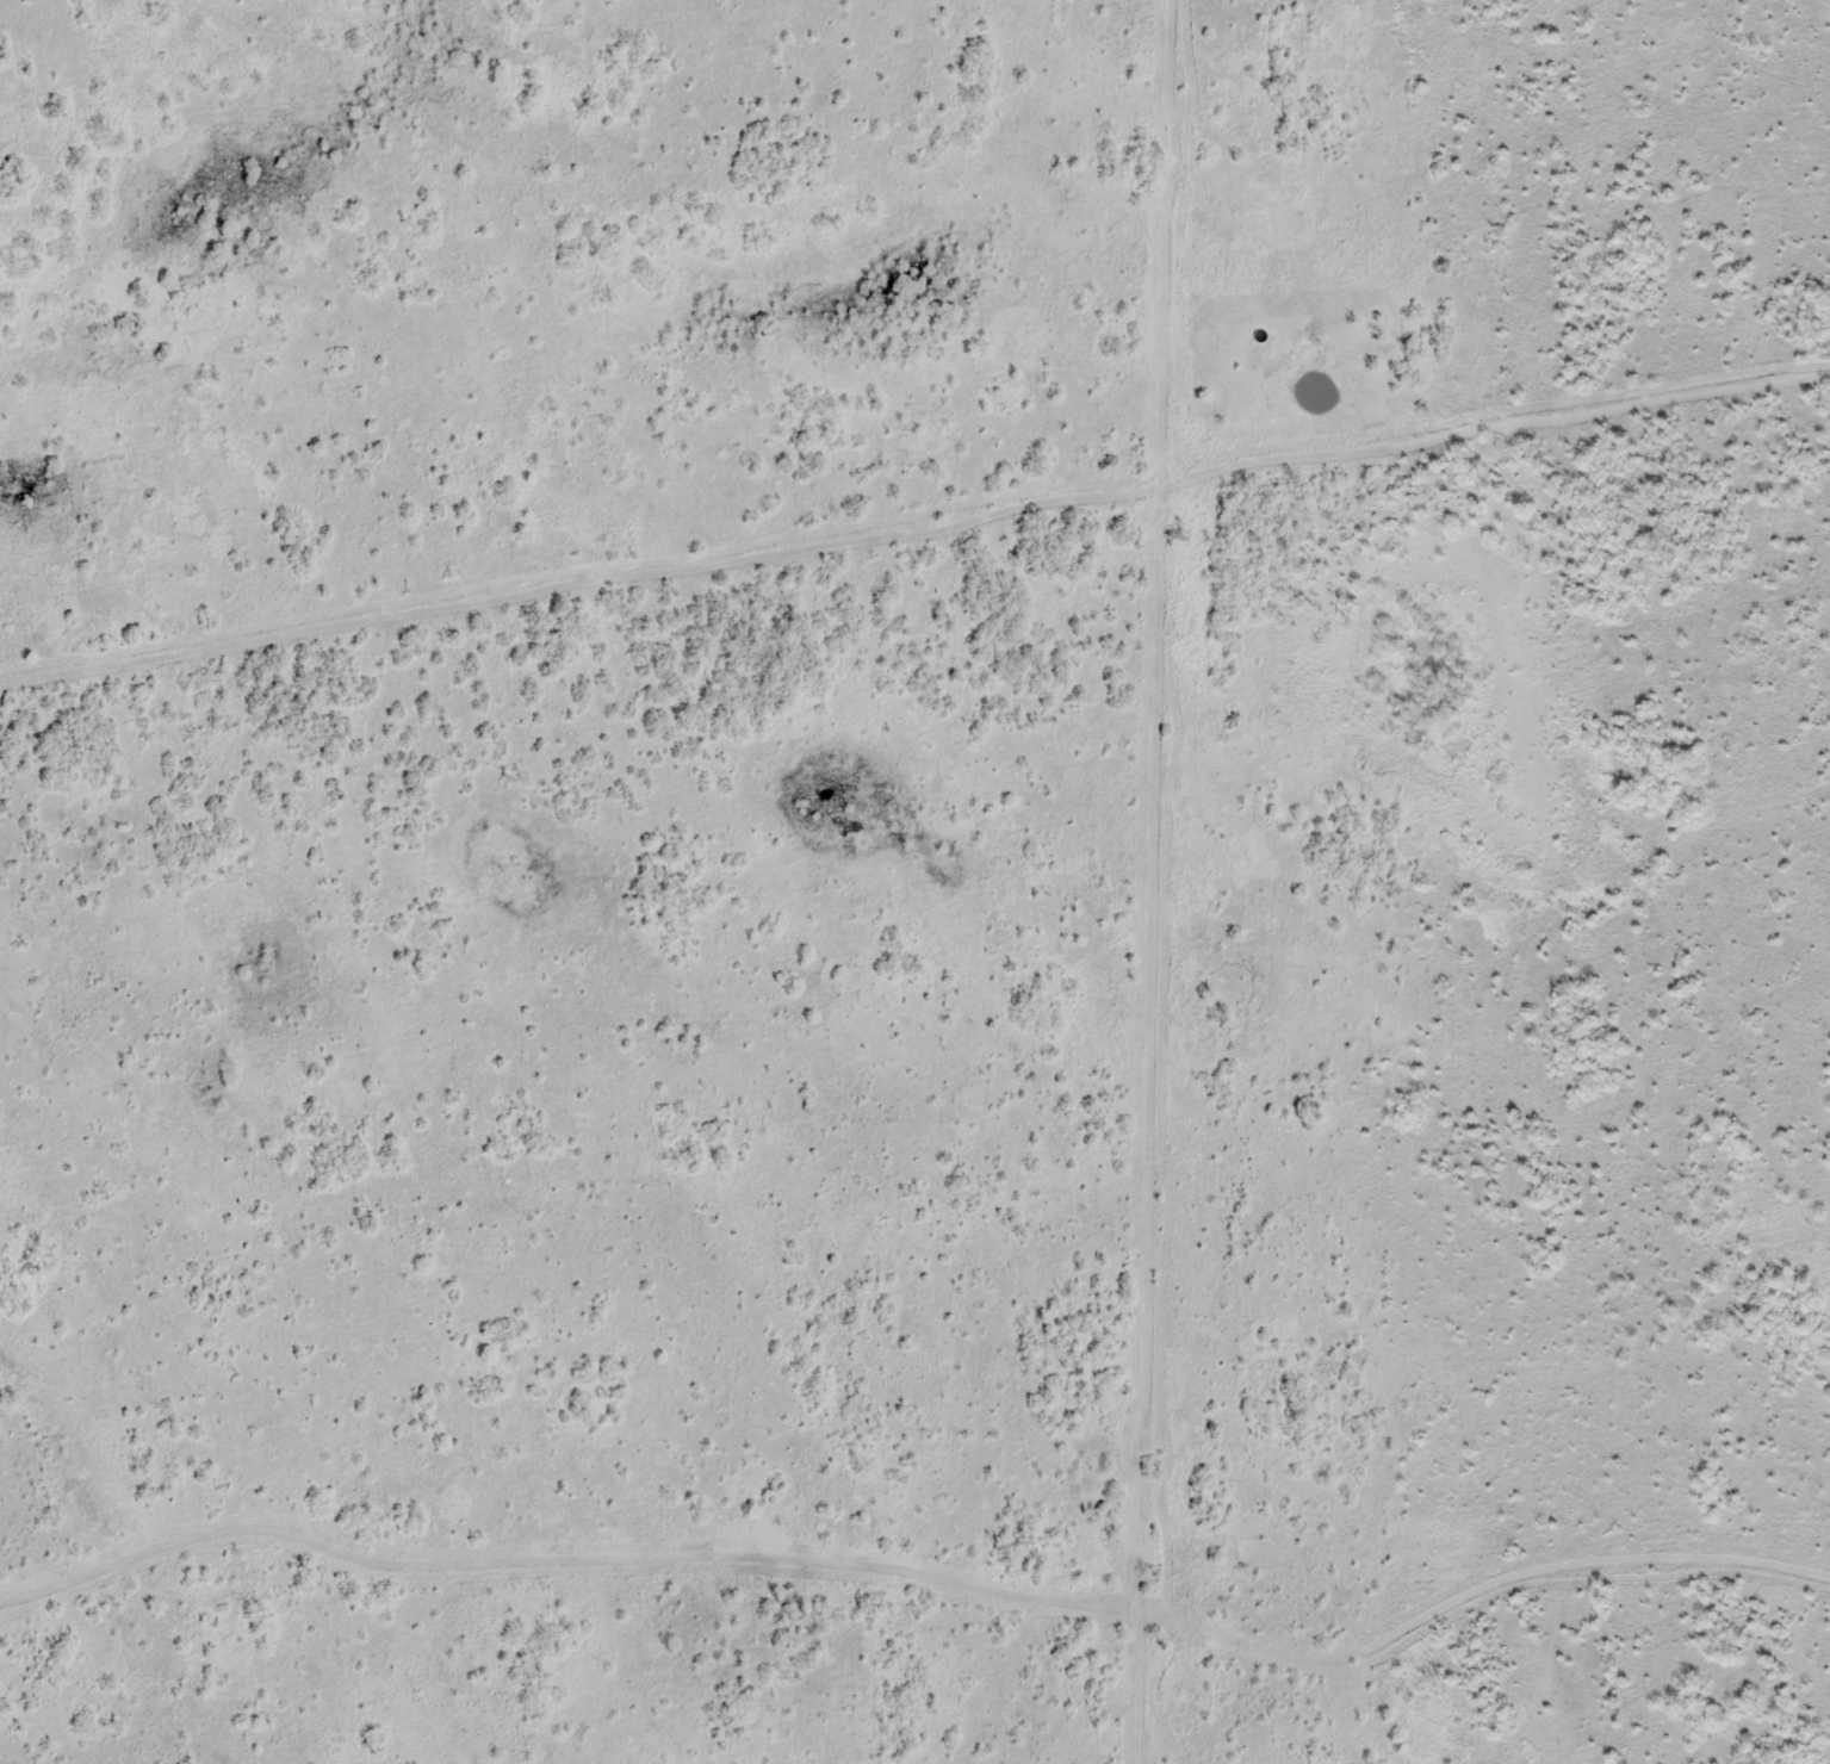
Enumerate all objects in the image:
road: (1097, 881)

